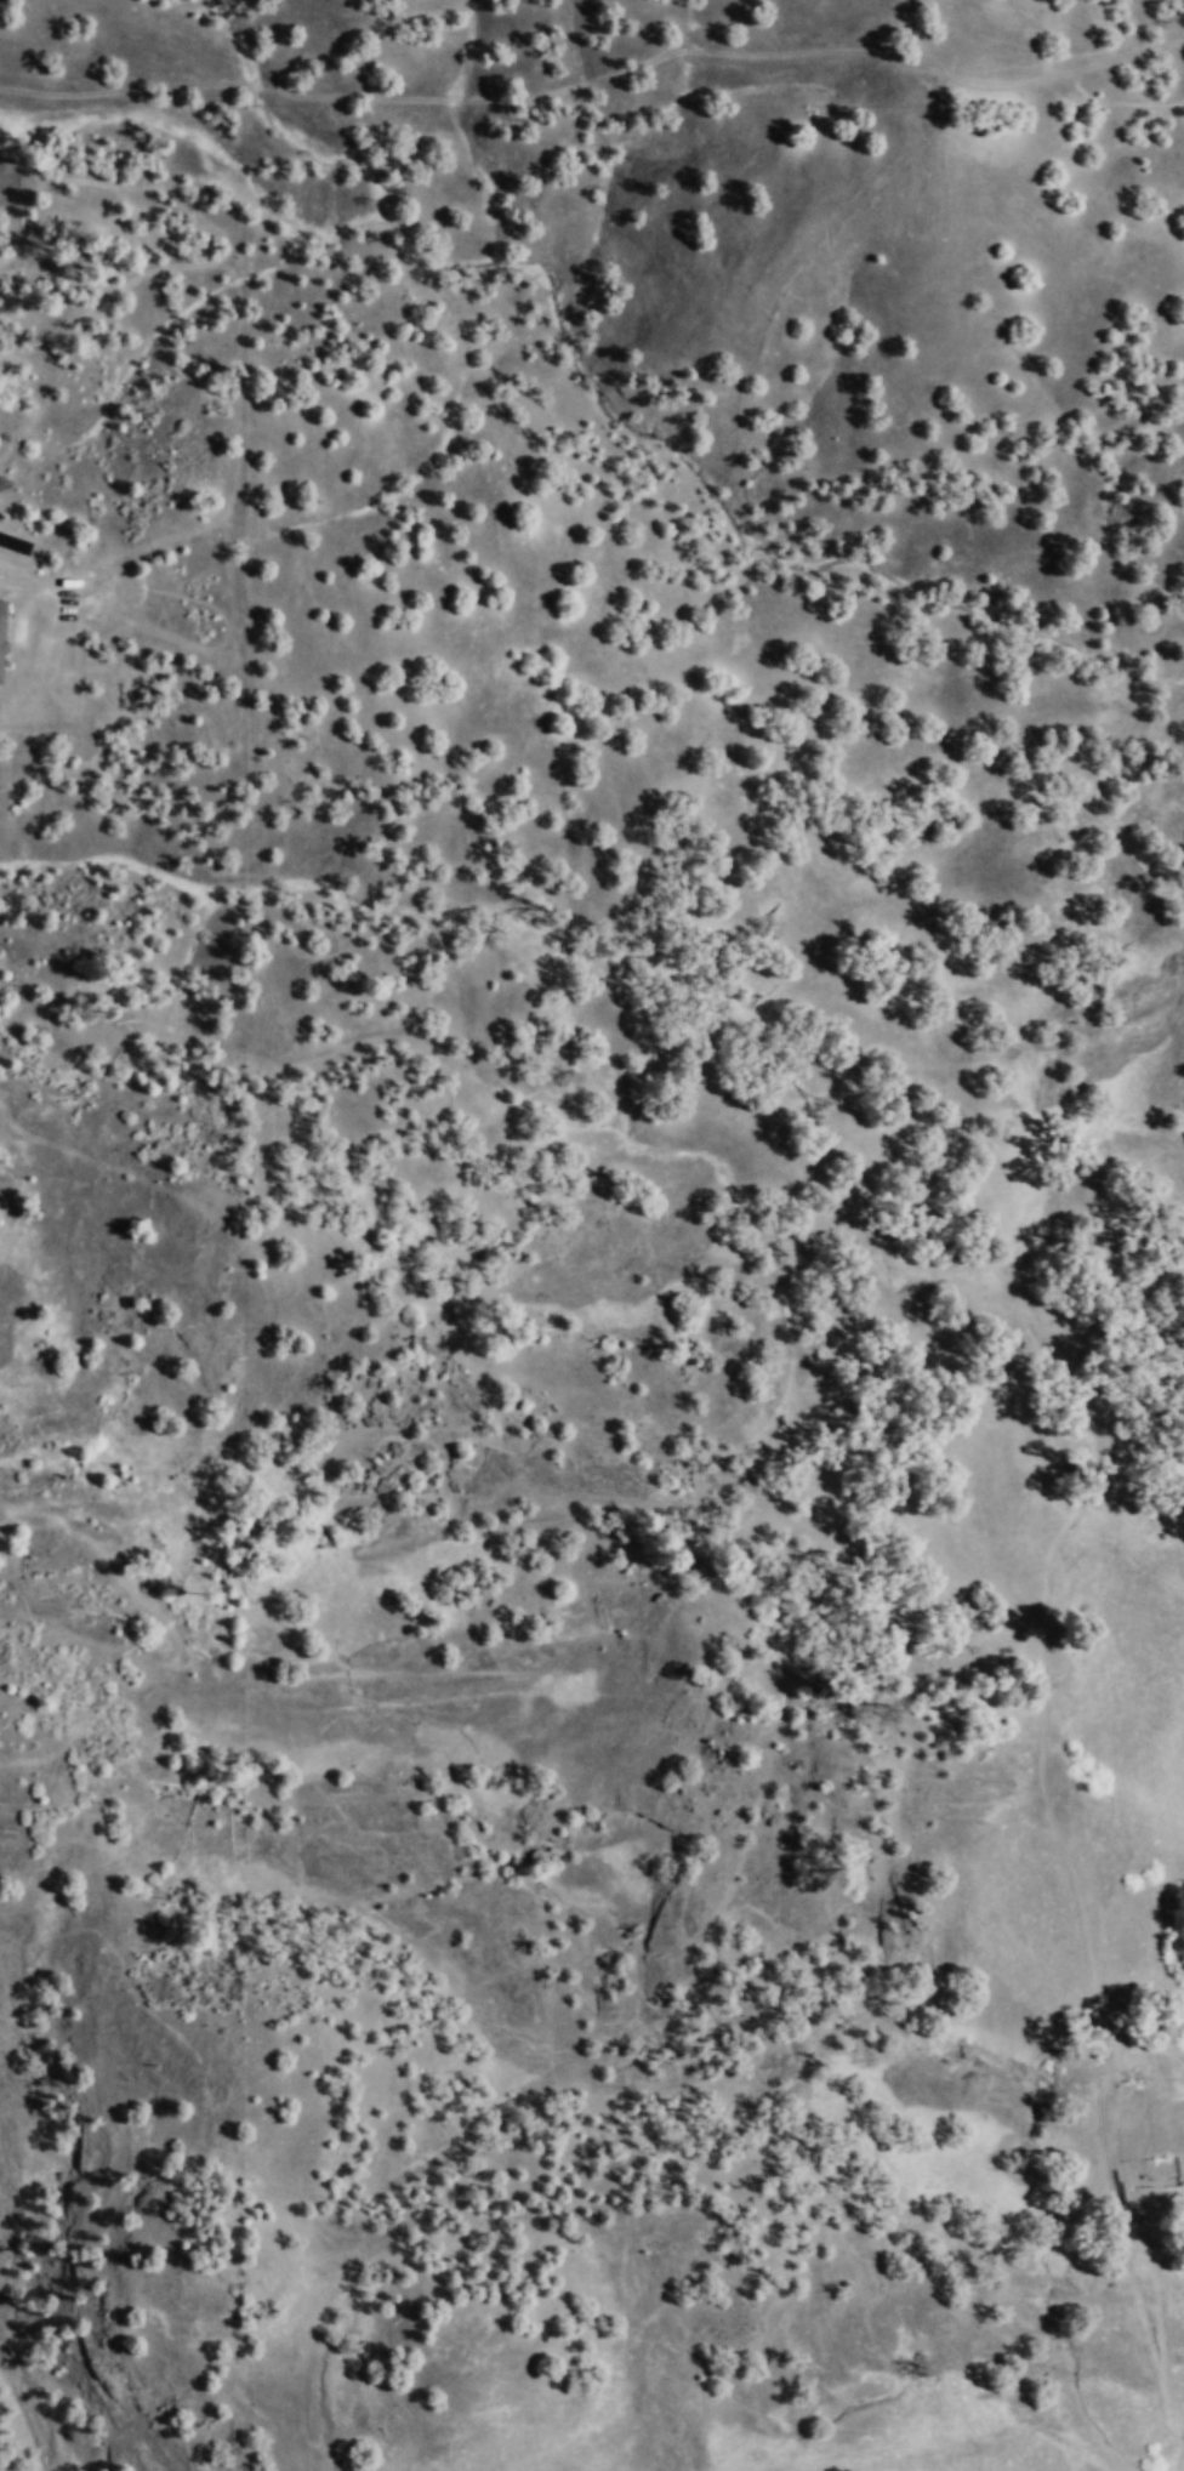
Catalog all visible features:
road: (923, 36)
road: (1064, 73)
road: (477, 98)
road: (1160, 2356)

